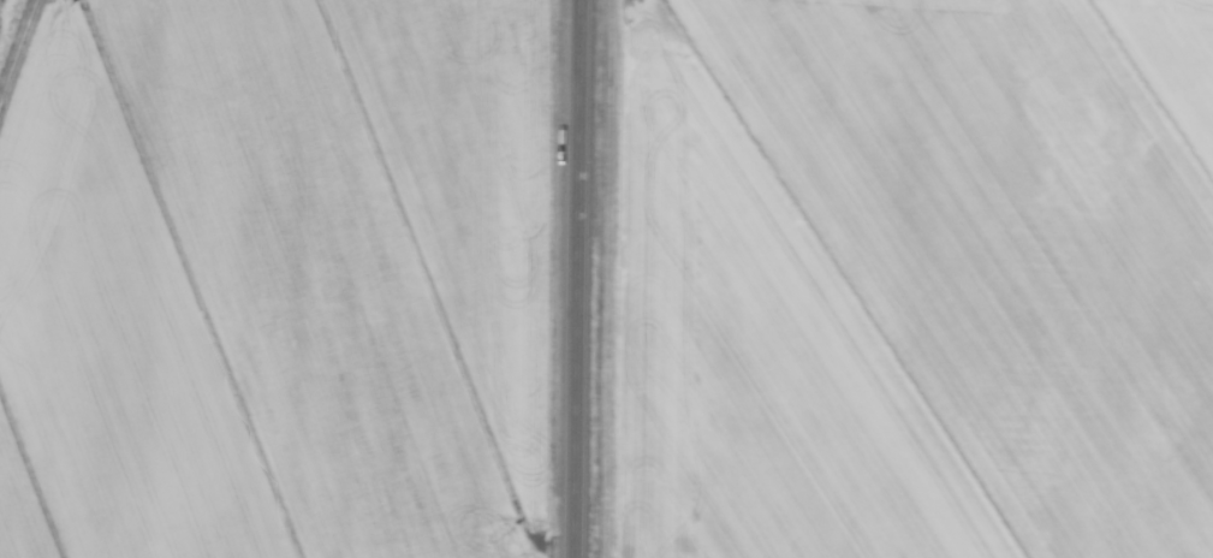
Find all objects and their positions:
road: (579, 279)
crop: (910, 279)

